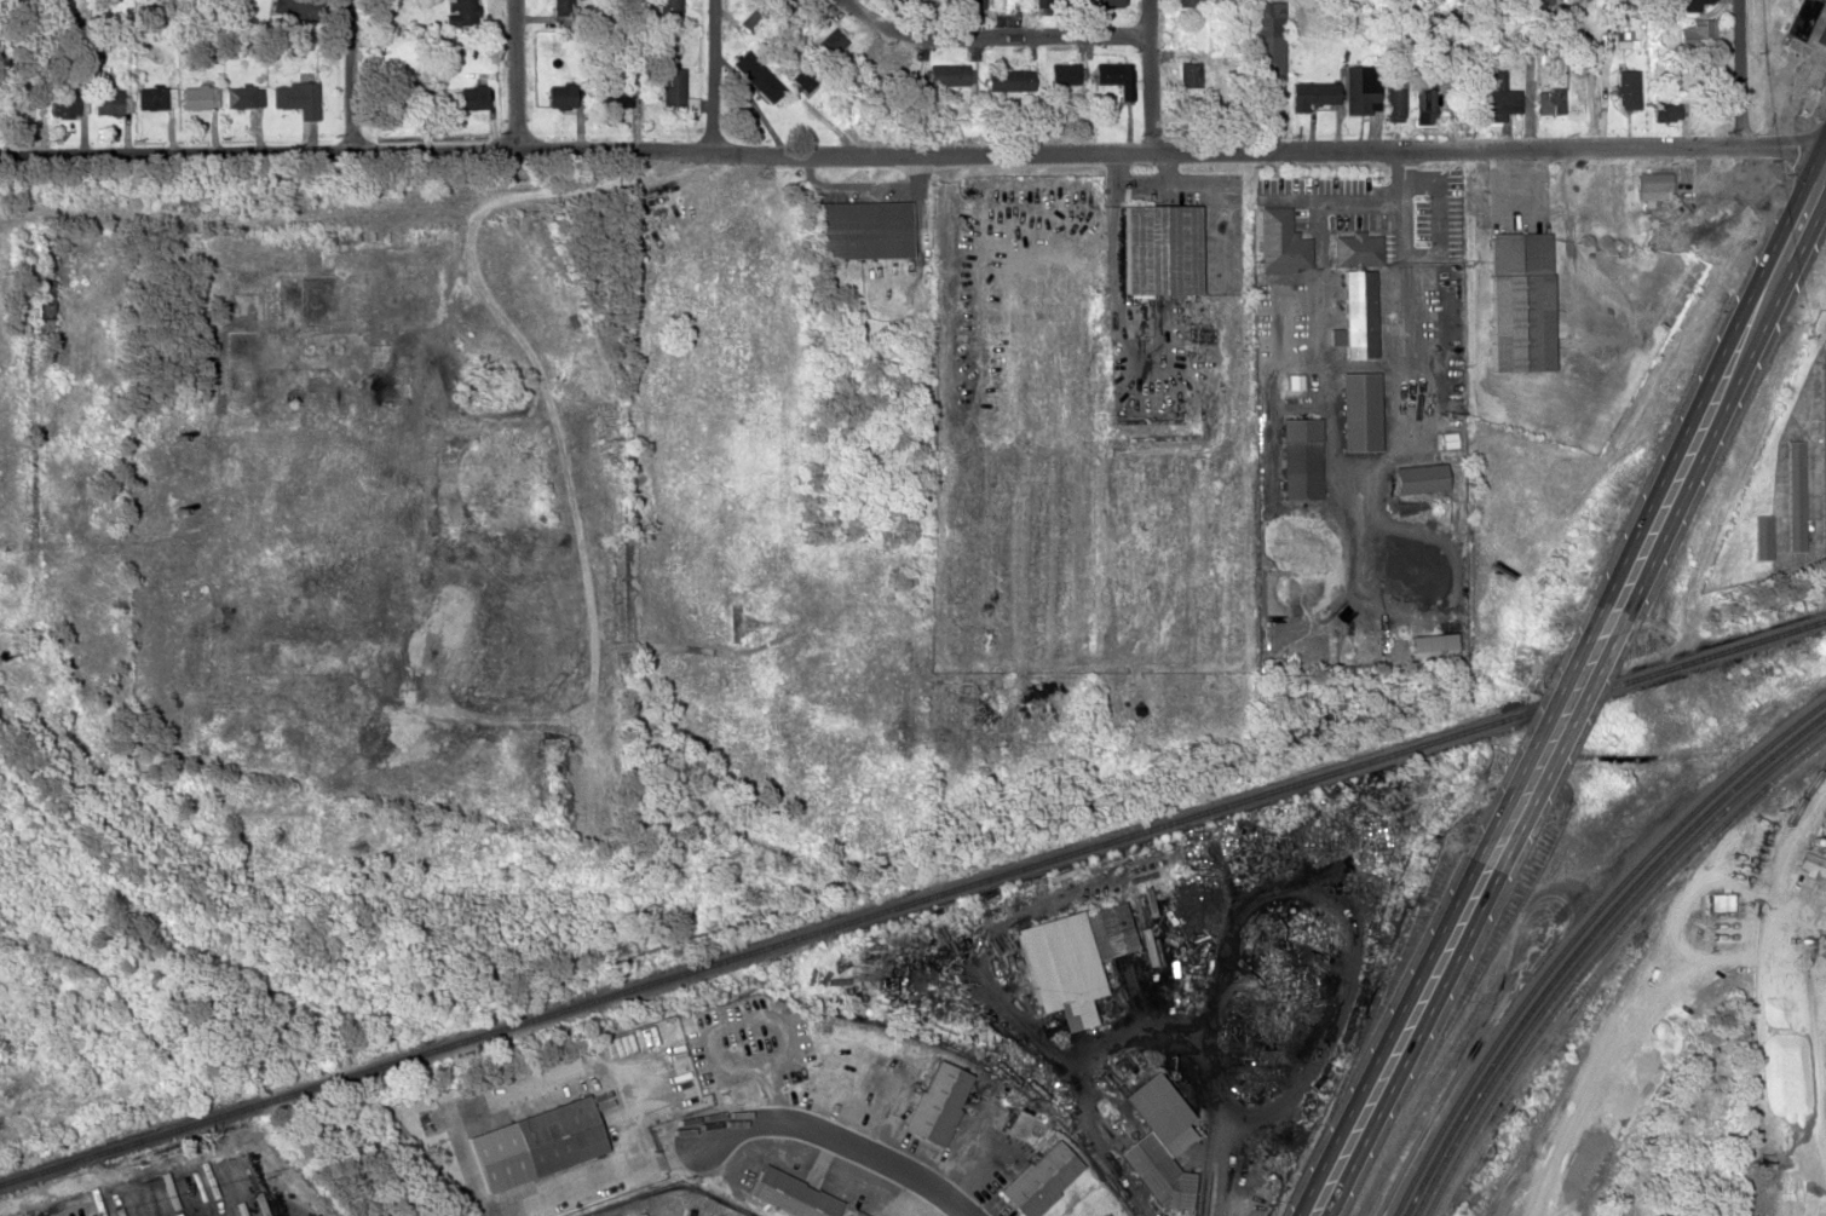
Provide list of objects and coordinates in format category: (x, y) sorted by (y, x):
building: (905, 0)
building: (967, 2)
building: (1039, 2)
building: (1105, 2)
building: (1185, 2)
building: (1682, 5)
building: (561, 8)
building: (666, 10)
building: (461, 13)
road: (1013, 16)
building: (1801, 23)
building: (1698, 30)
road: (1000, 33)
building: (1202, 33)
building: (1266, 39)
building: (828, 44)
building: (877, 64)
road: (351, 71)
road: (1739, 71)
road: (517, 73)
building: (1065, 73)
road: (712, 74)
building: (943, 74)
building: (1116, 75)
road: (1152, 75)
building: (1004, 79)
building: (759, 80)
building: (672, 87)
building: (1359, 88)
building: (622, 92)
building: (1309, 93)
building: (244, 94)
building: (560, 94)
building: (198, 96)
building: (151, 97)
building: (296, 97)
building: (472, 97)
building: (1394, 98)
building: (1493, 98)
building: (1548, 99)
building: (106, 100)
building: (1423, 100)
building: (24, 102)
building: (65, 103)
building: (1665, 110)
road: (912, 149)
building: (1653, 184)
building: (1707, 217)
building: (860, 229)
building: (329, 240)
building: (1281, 242)
building: (1356, 248)
building: (1158, 249)
building: (45, 300)
building: (1517, 300)
road: (1712, 385)
chimney: (172, 436)
building: (1298, 457)
building: (347, 465)
building: (1416, 477)
chimney: (174, 513)
building: (1427, 524)
building: (492, 641)
building: (558, 655)
road: (1537, 728)
railway: (912, 898)
building: (1720, 901)
building: (1107, 929)
building: (1721, 929)
railway: (1580, 933)
railway: (1586, 939)
railway: (1591, 945)
railway: (1599, 953)
building: (1071, 1010)
road: (1393, 1036)
building: (937, 1101)
building: (555, 1134)
road: (843, 1142)
building: (1154, 1171)
building: (1039, 1177)
building: (211, 1193)
building: (790, 1193)
building: (854, 1214)
building: (1104, 1214)
building: (1661, 1215)

